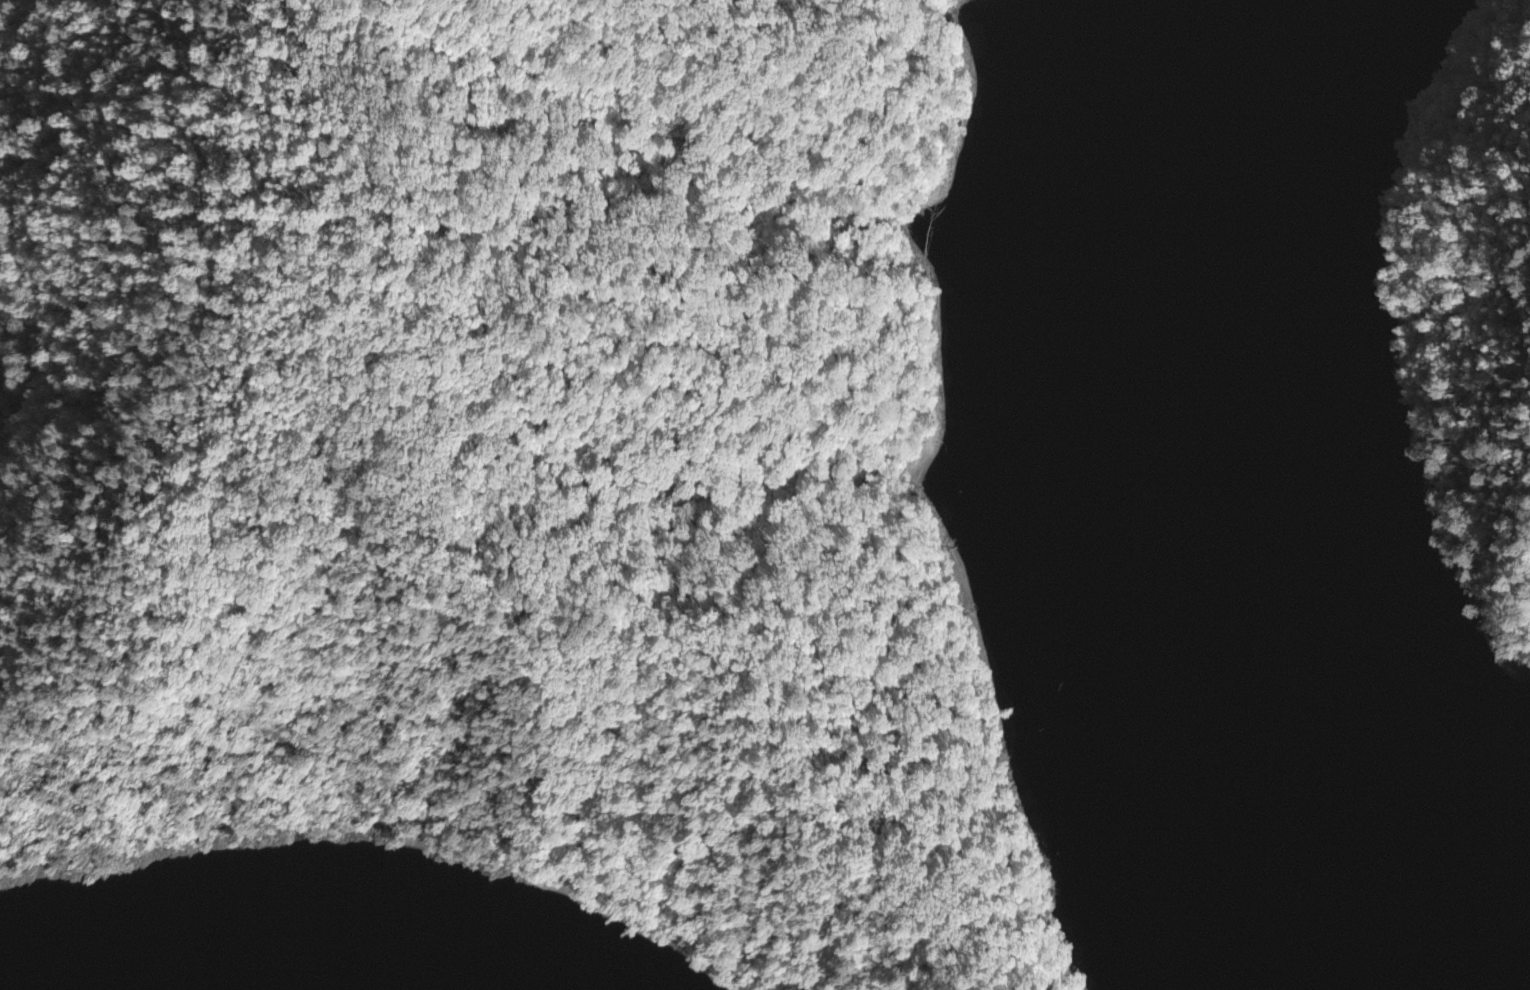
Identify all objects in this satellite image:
river: (1198, 481)
river: (1376, 968)

